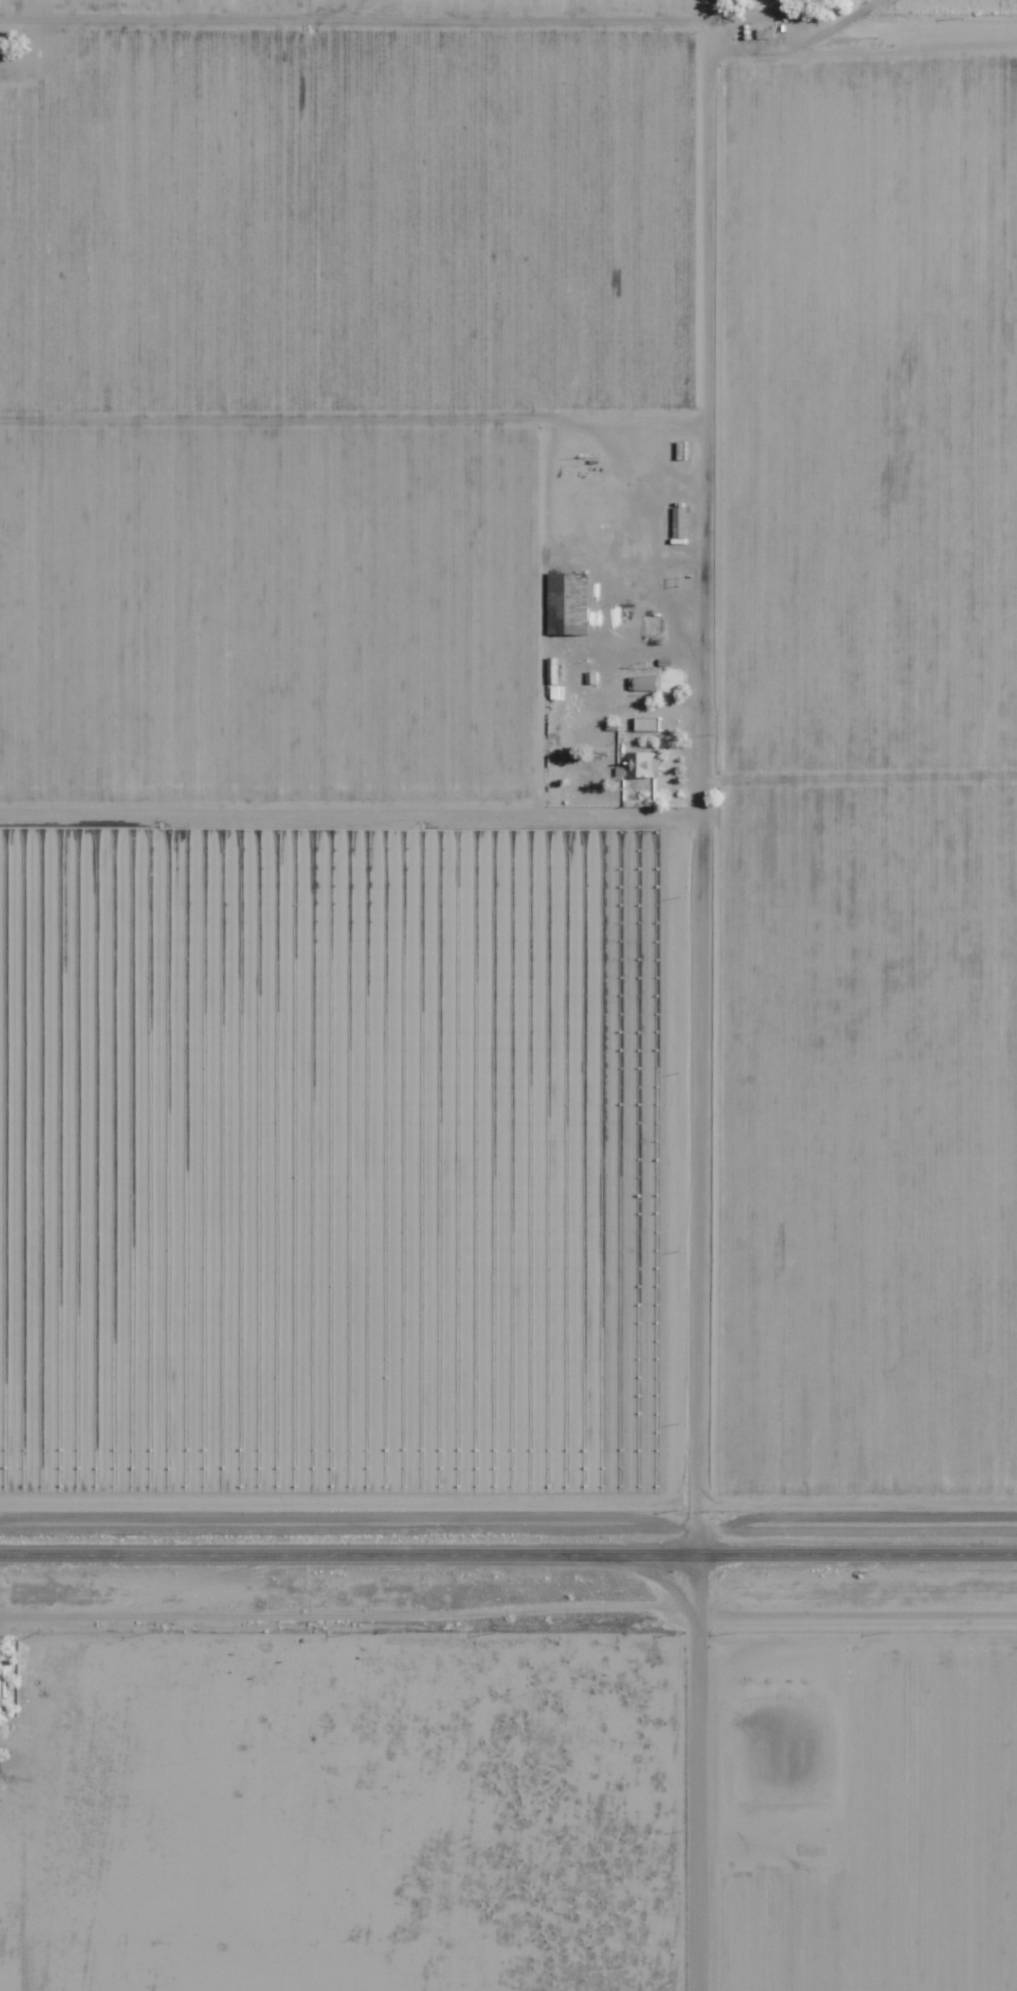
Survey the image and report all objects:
crop: (355, 6)
road: (705, 14)
road: (512, 25)
crop: (346, 226)
crop: (867, 415)
road: (351, 421)
crop: (269, 615)
road: (858, 778)
road: (700, 795)
road: (350, 811)
crop: (867, 1138)
crop: (341, 1170)
road: (508, 1556)
building: (2, 1683)
road: (694, 1773)

